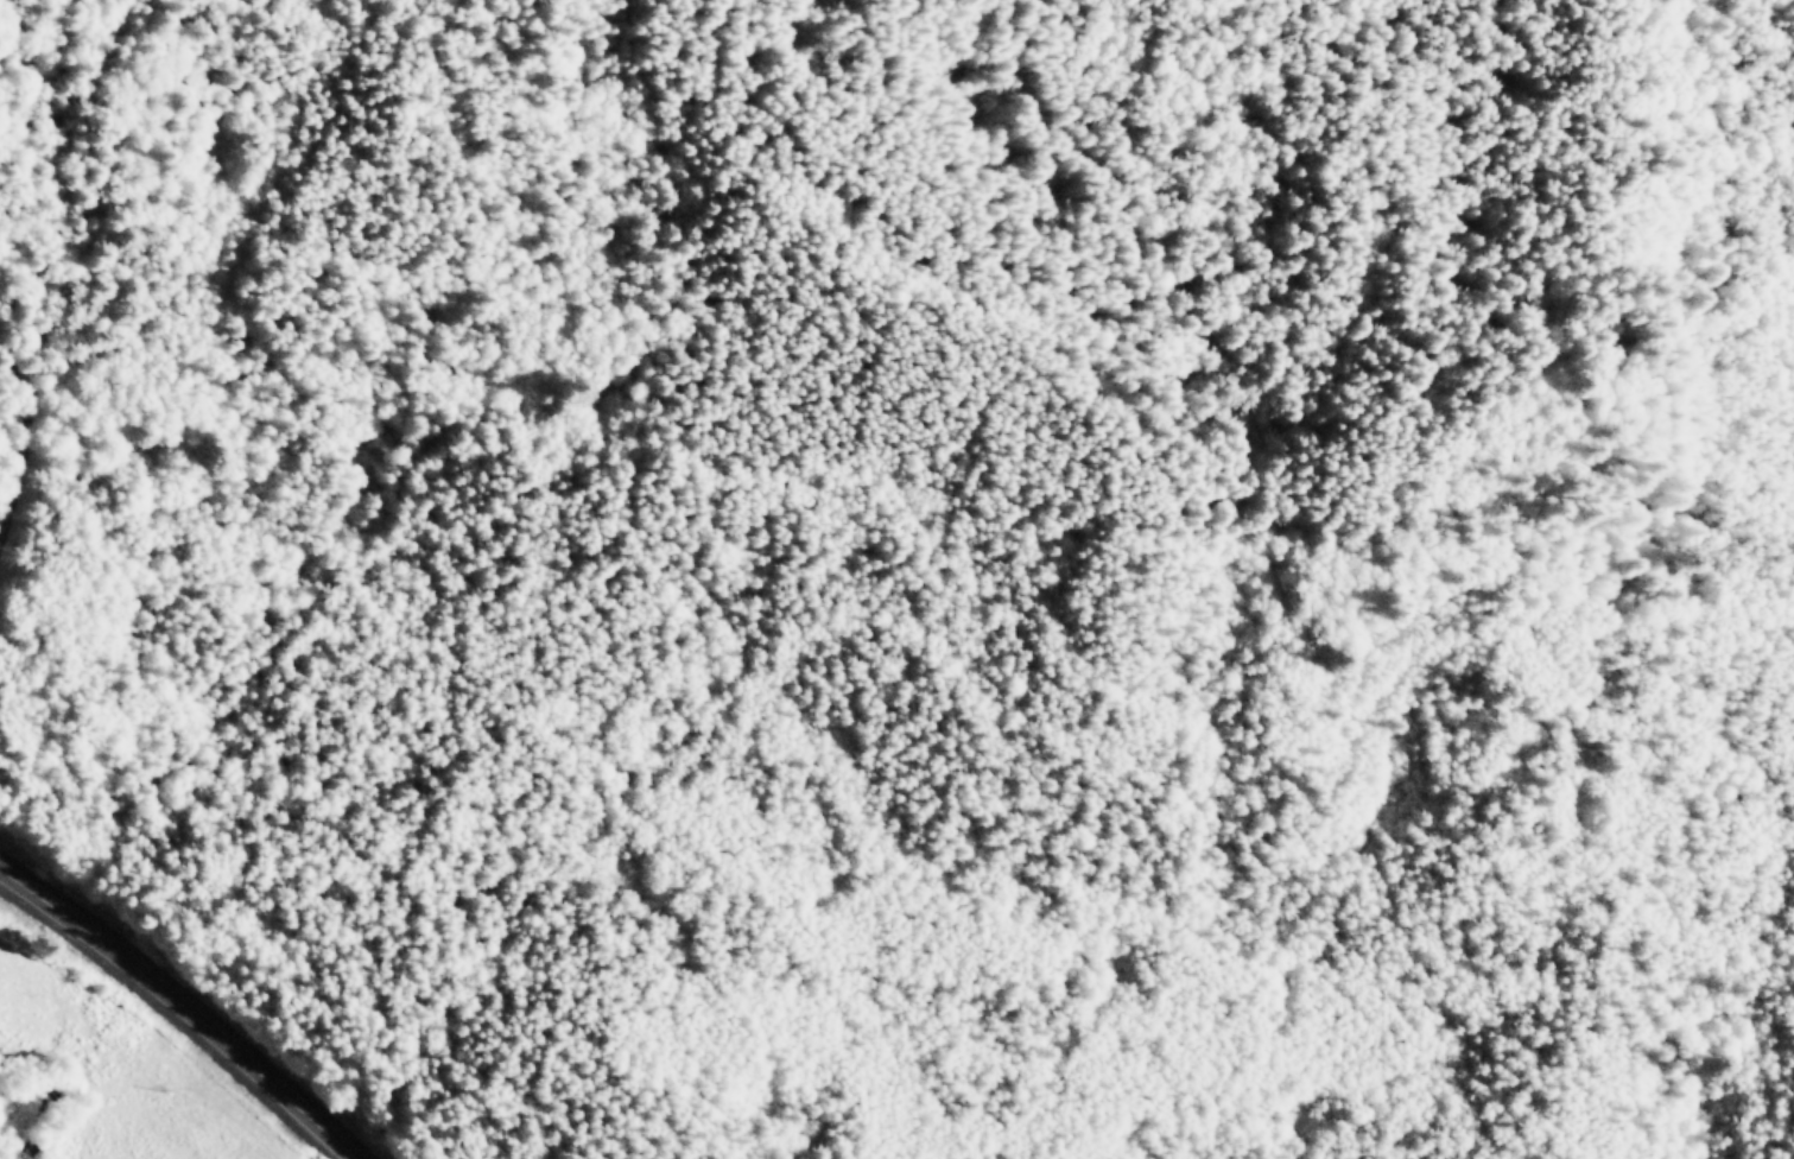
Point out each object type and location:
road: (184, 1006)
road: (328, 1149)

